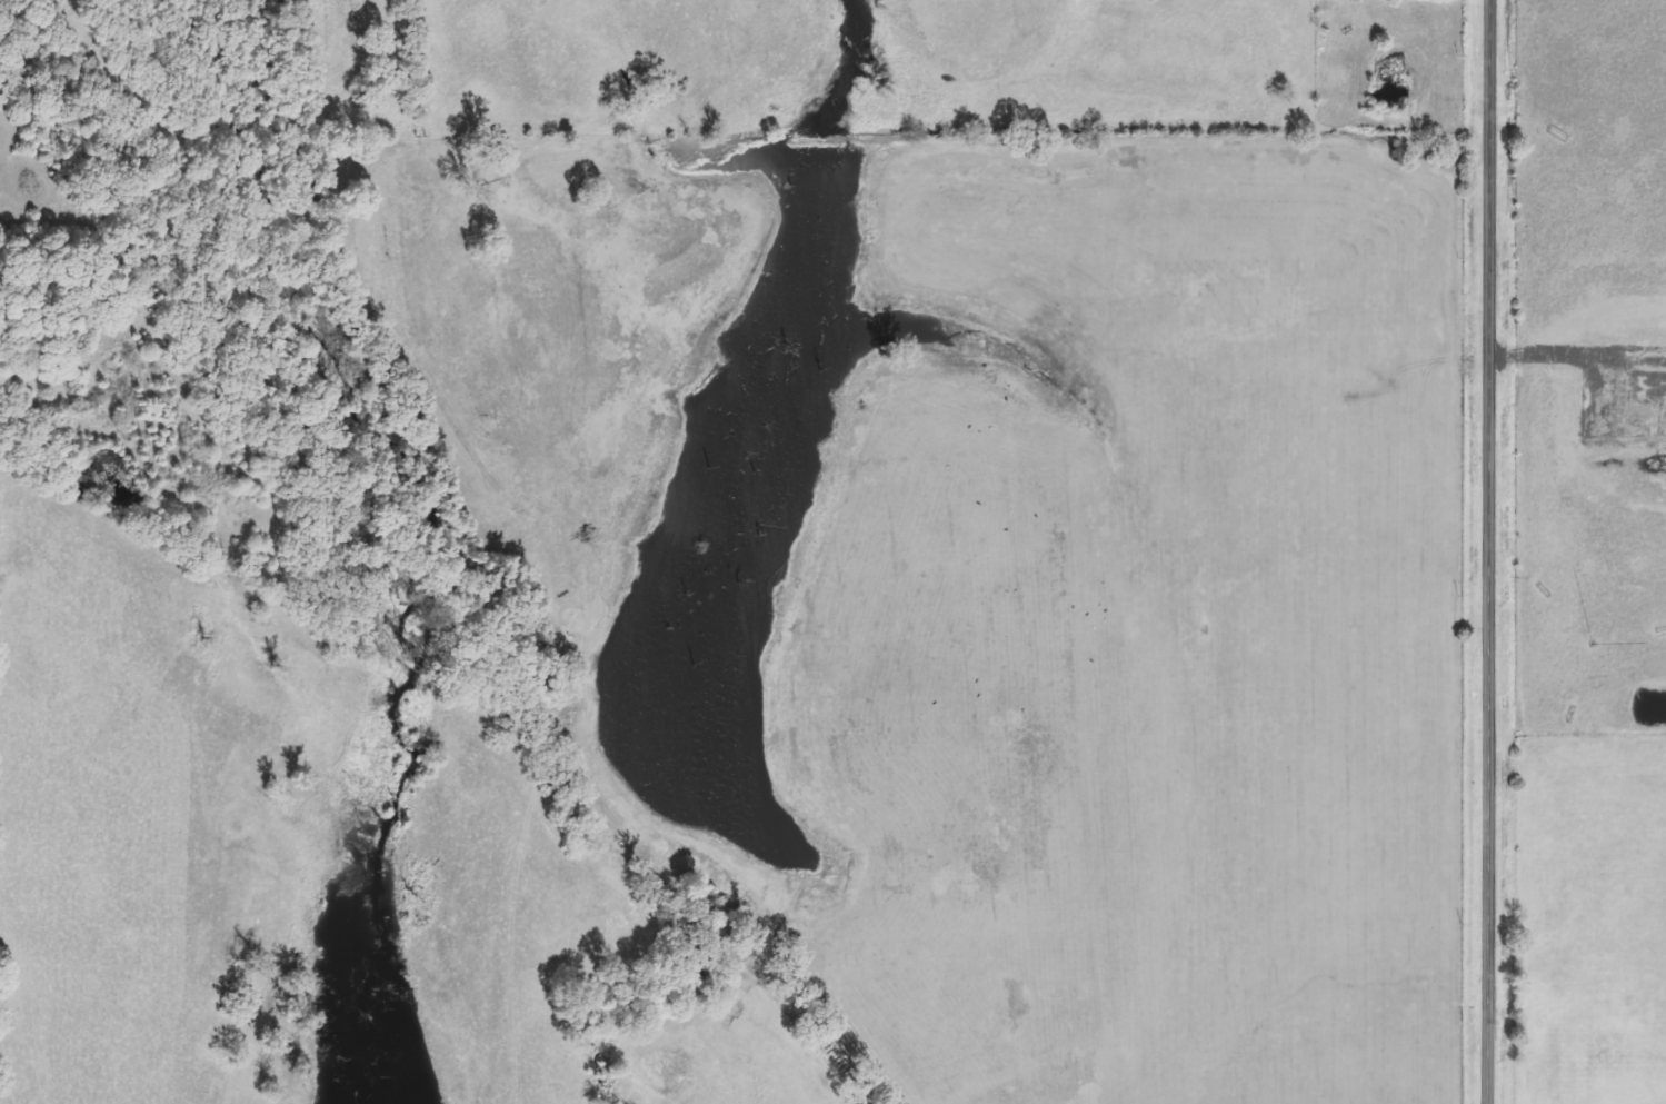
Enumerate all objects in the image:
road: (1489, 551)

